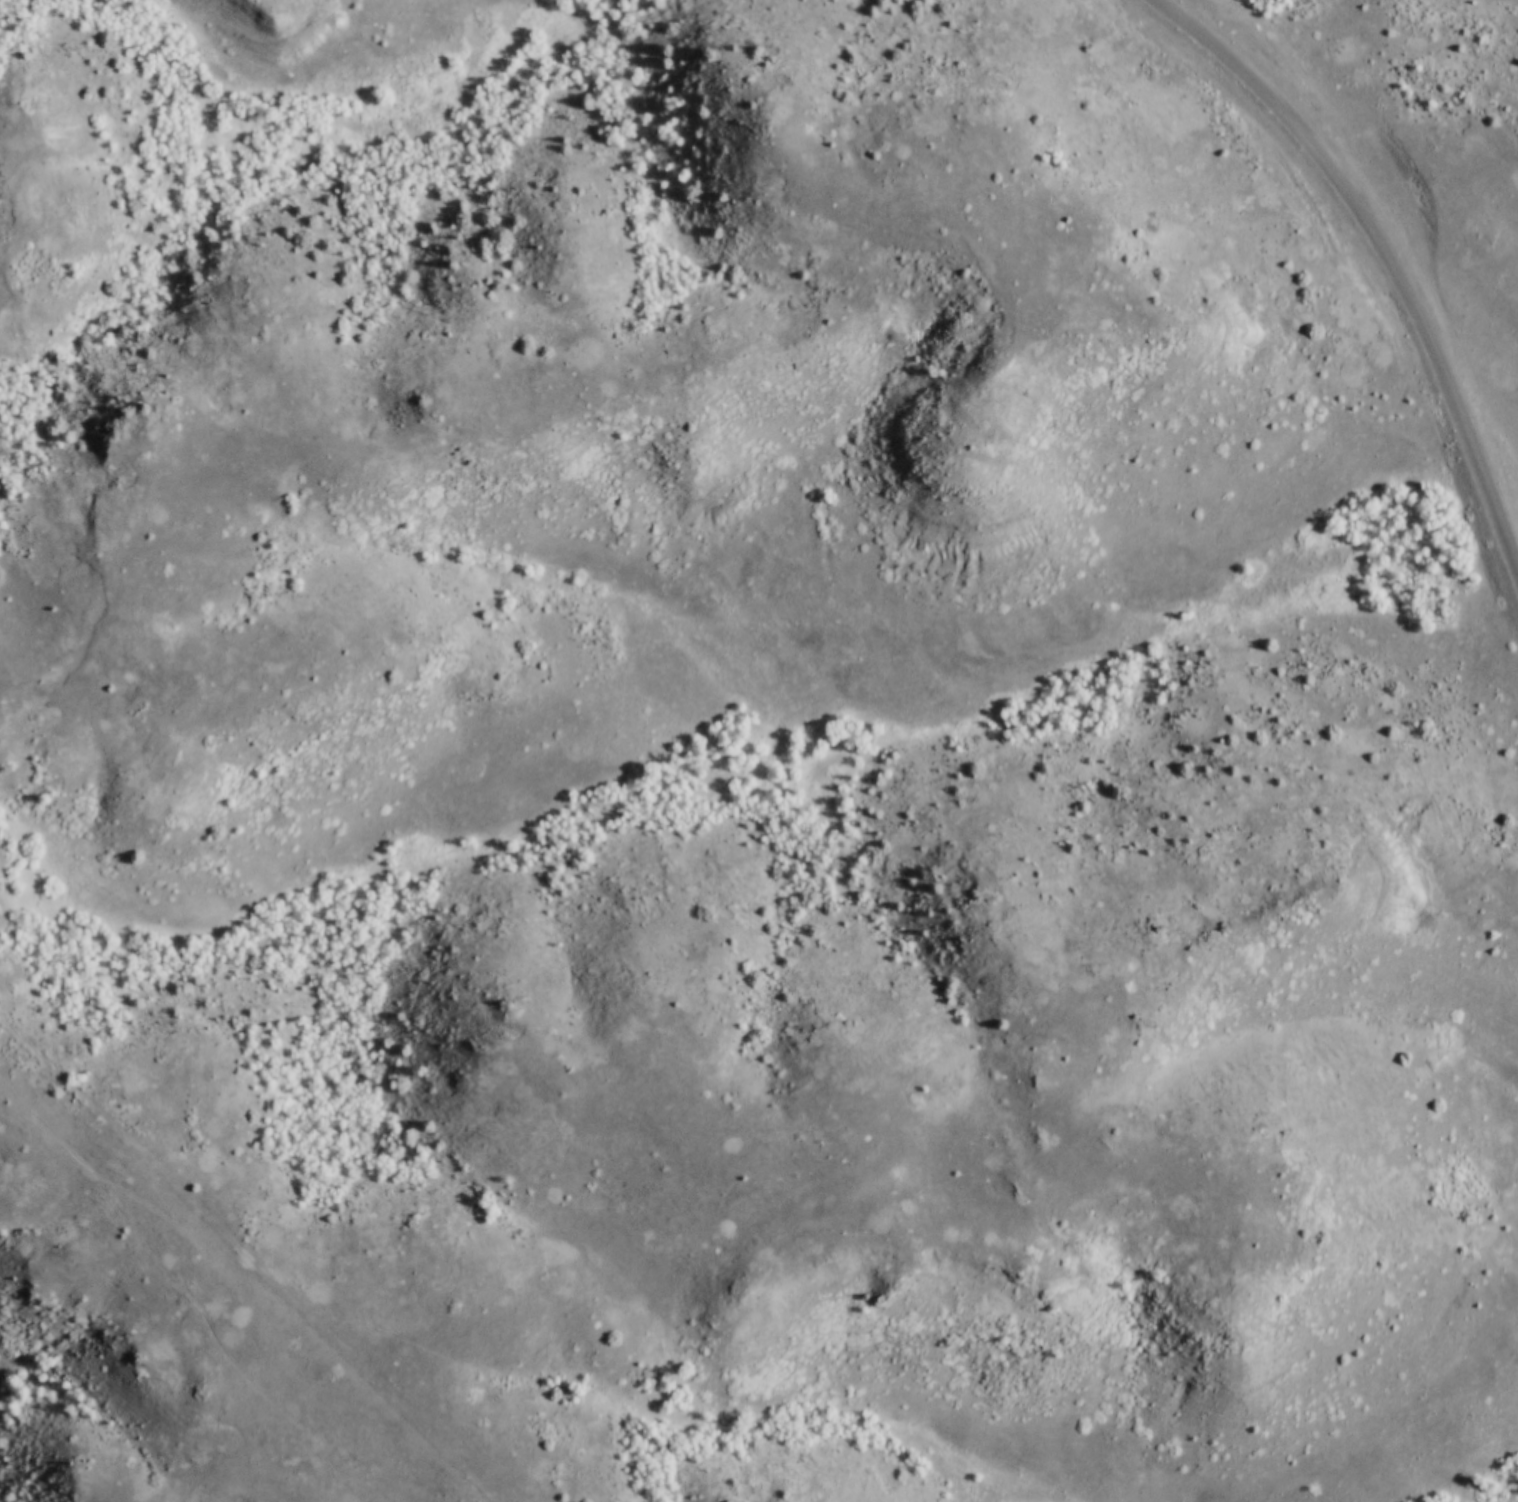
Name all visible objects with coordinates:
road: (1387, 253)

